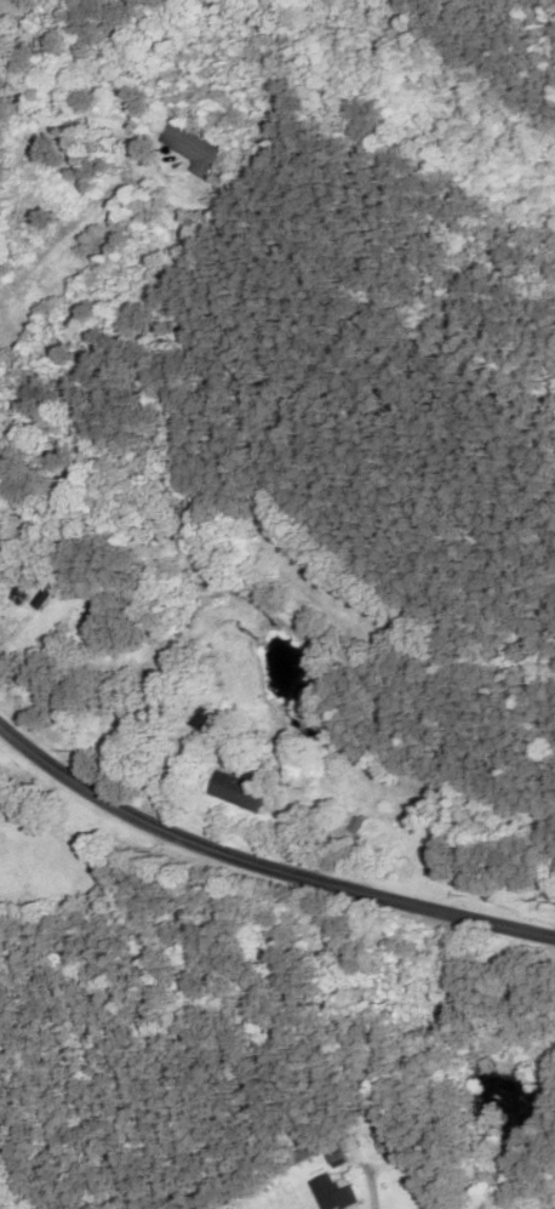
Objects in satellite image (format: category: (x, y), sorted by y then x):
building: (188, 149)
building: (198, 722)
building: (231, 791)
road: (46, 833)
road: (263, 862)
building: (328, 1193)

